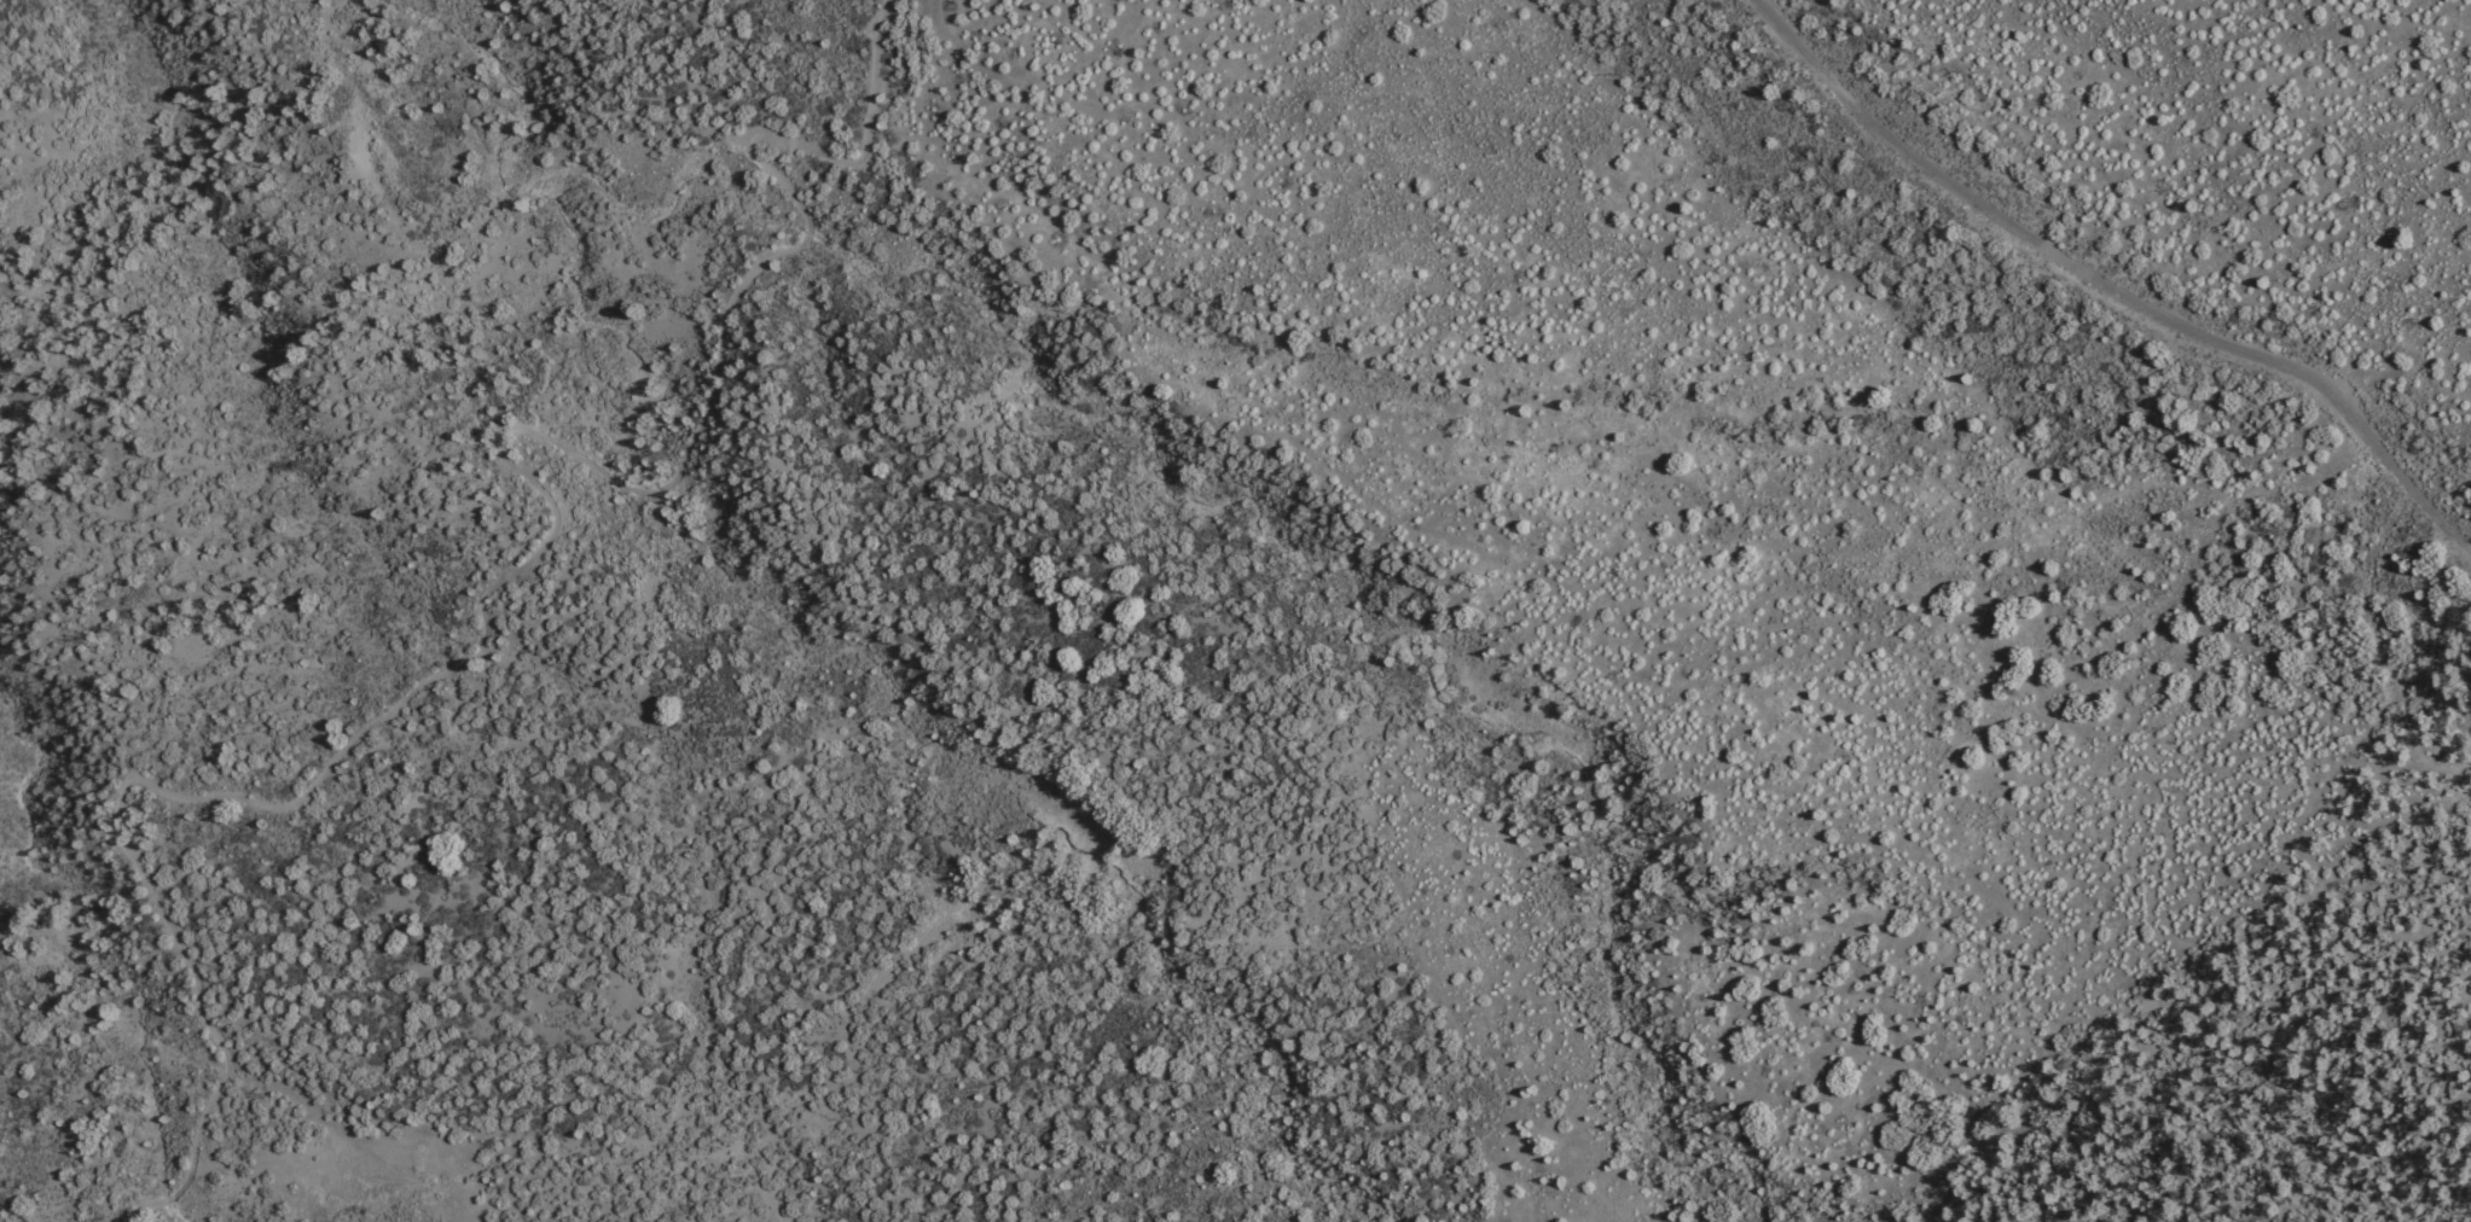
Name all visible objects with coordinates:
road: (2110, 281)
road: (532, 551)

